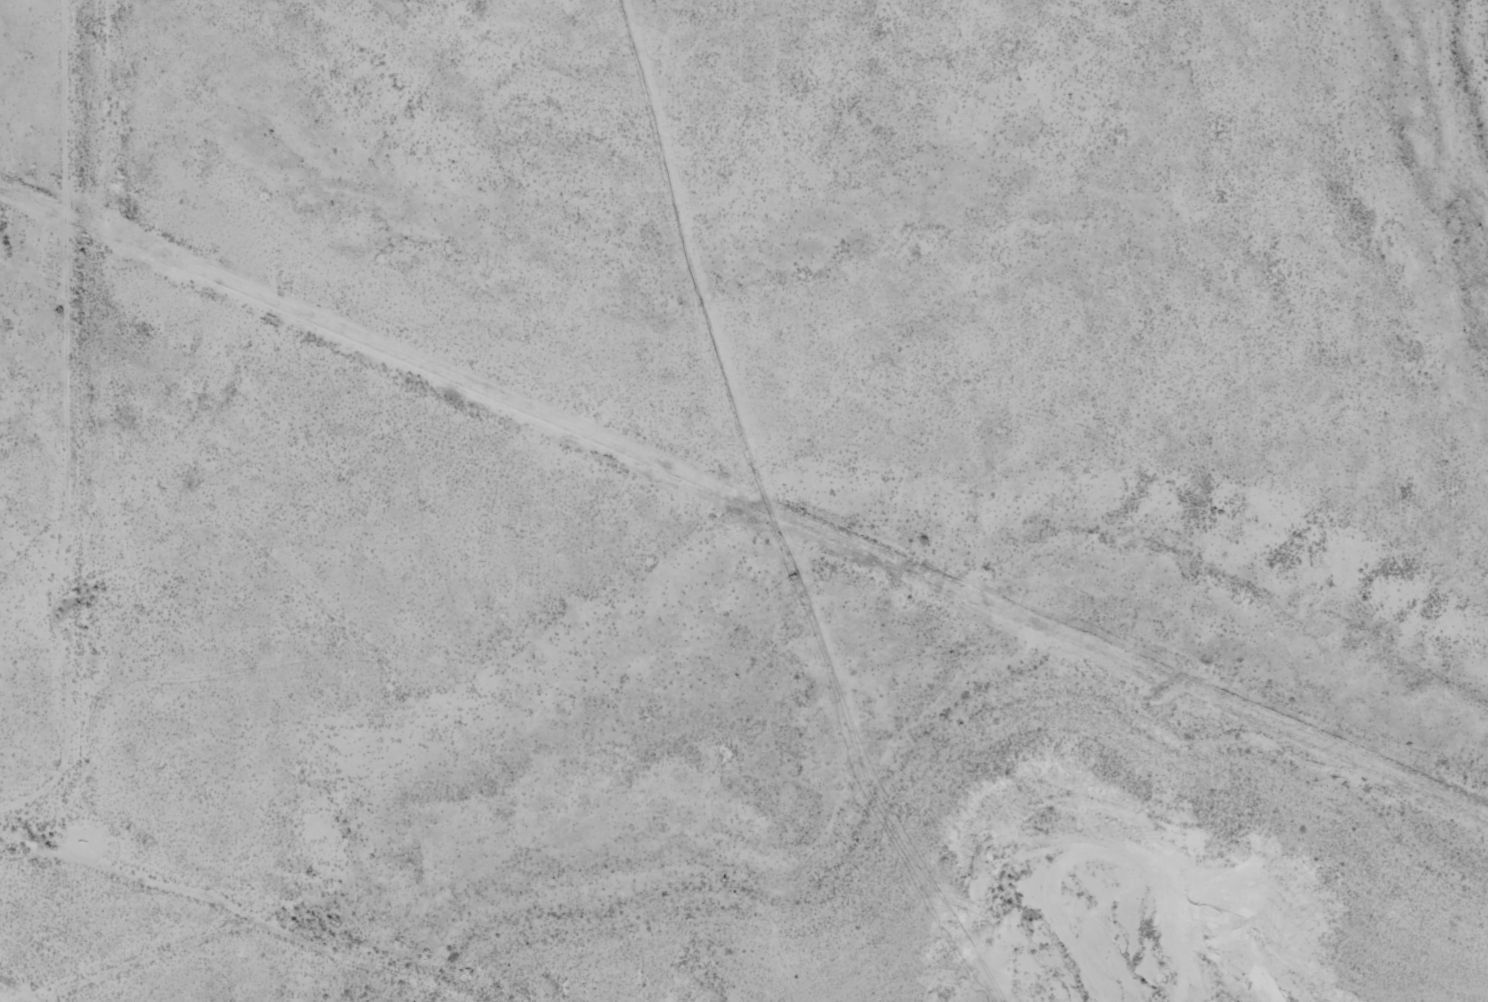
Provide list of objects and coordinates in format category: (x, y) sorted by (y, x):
road: (29, 419)
road: (195, 922)
road: (106, 961)

